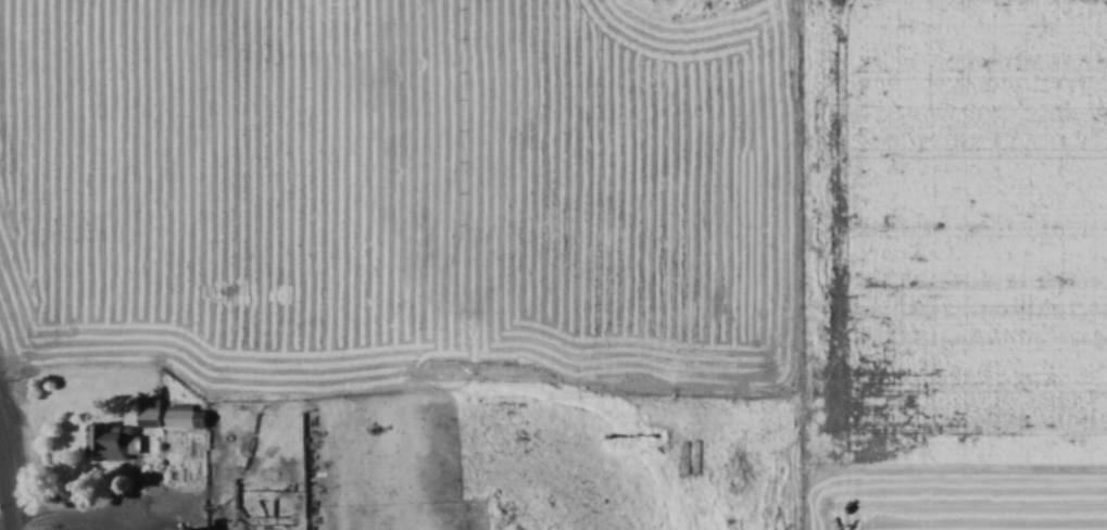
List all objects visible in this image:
building: (187, 416)
building: (112, 442)
road: (7, 503)
building: (199, 527)
building: (221, 529)

